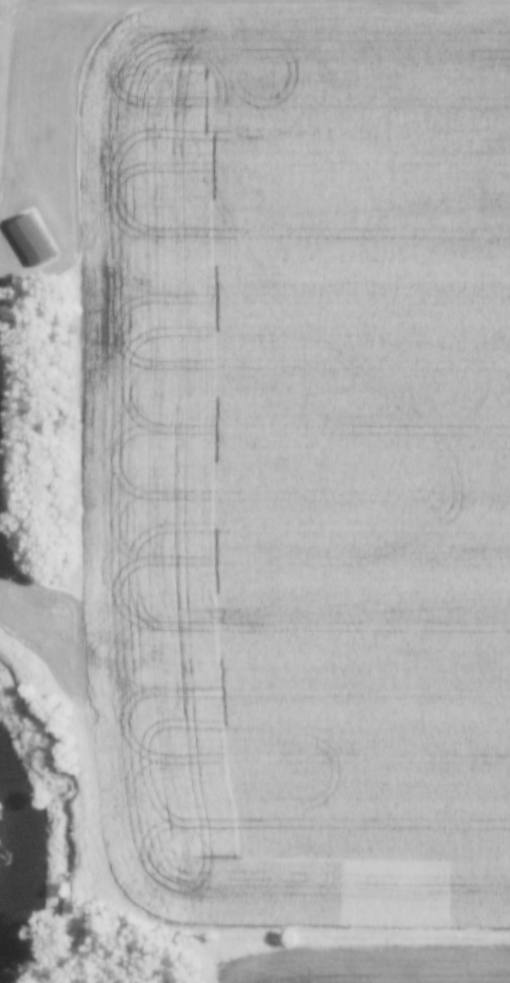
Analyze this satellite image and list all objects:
building: (29, 241)
building: (3, 431)
river: (24, 831)

